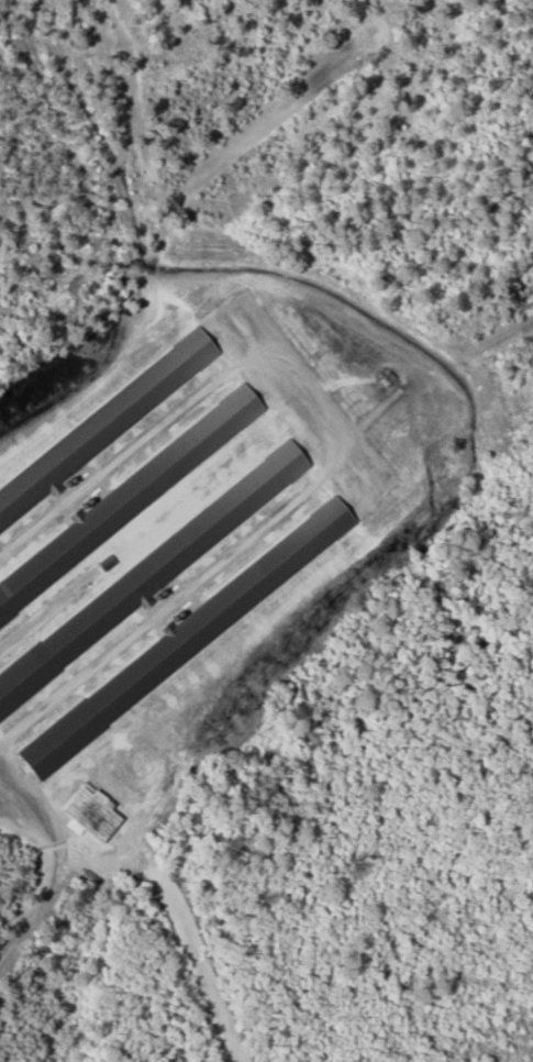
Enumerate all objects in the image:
building: (92, 812)

